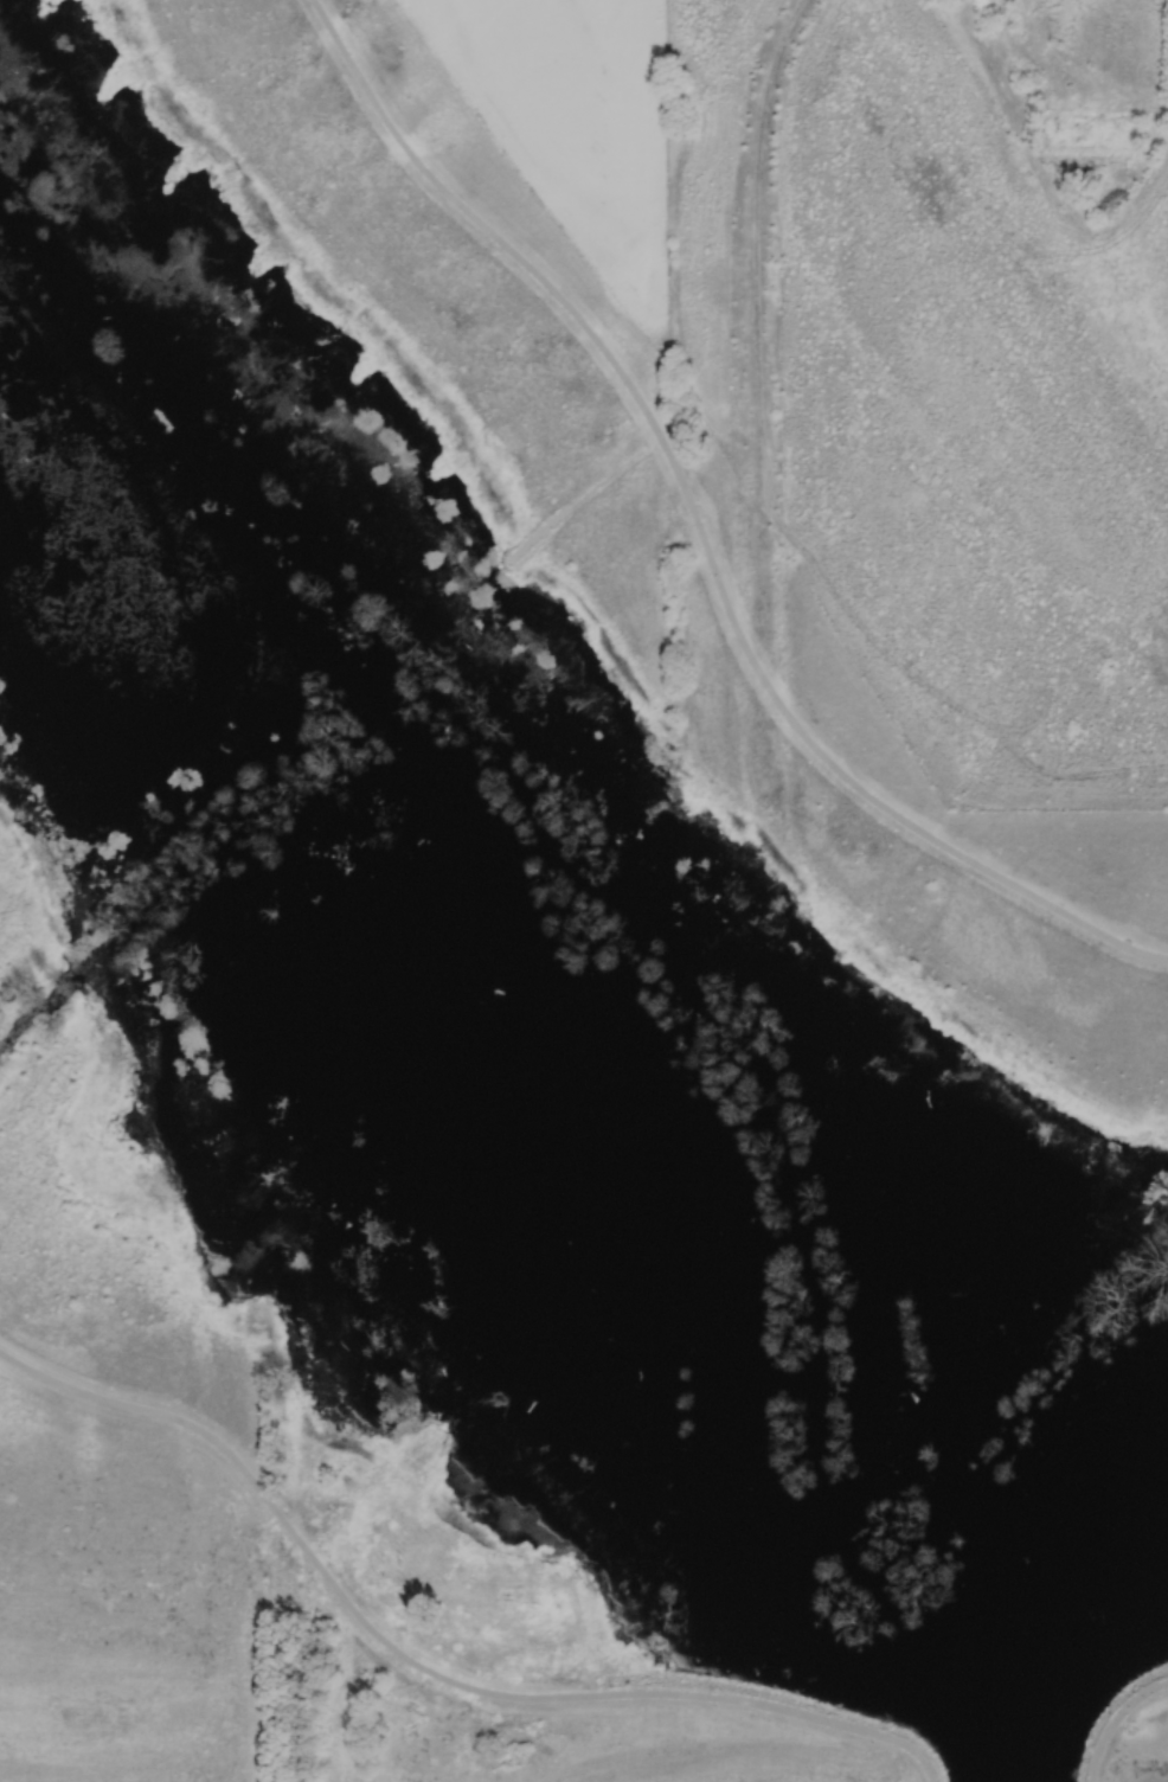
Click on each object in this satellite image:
building: (1086, 130)
road: (582, 498)
road: (698, 532)
park: (511, 1020)
building: (332, 1354)
building: (416, 1453)
building: (608, 1498)
building: (381, 1562)
building: (524, 1611)
road: (424, 1666)
road: (1112, 1716)
building: (418, 1758)

